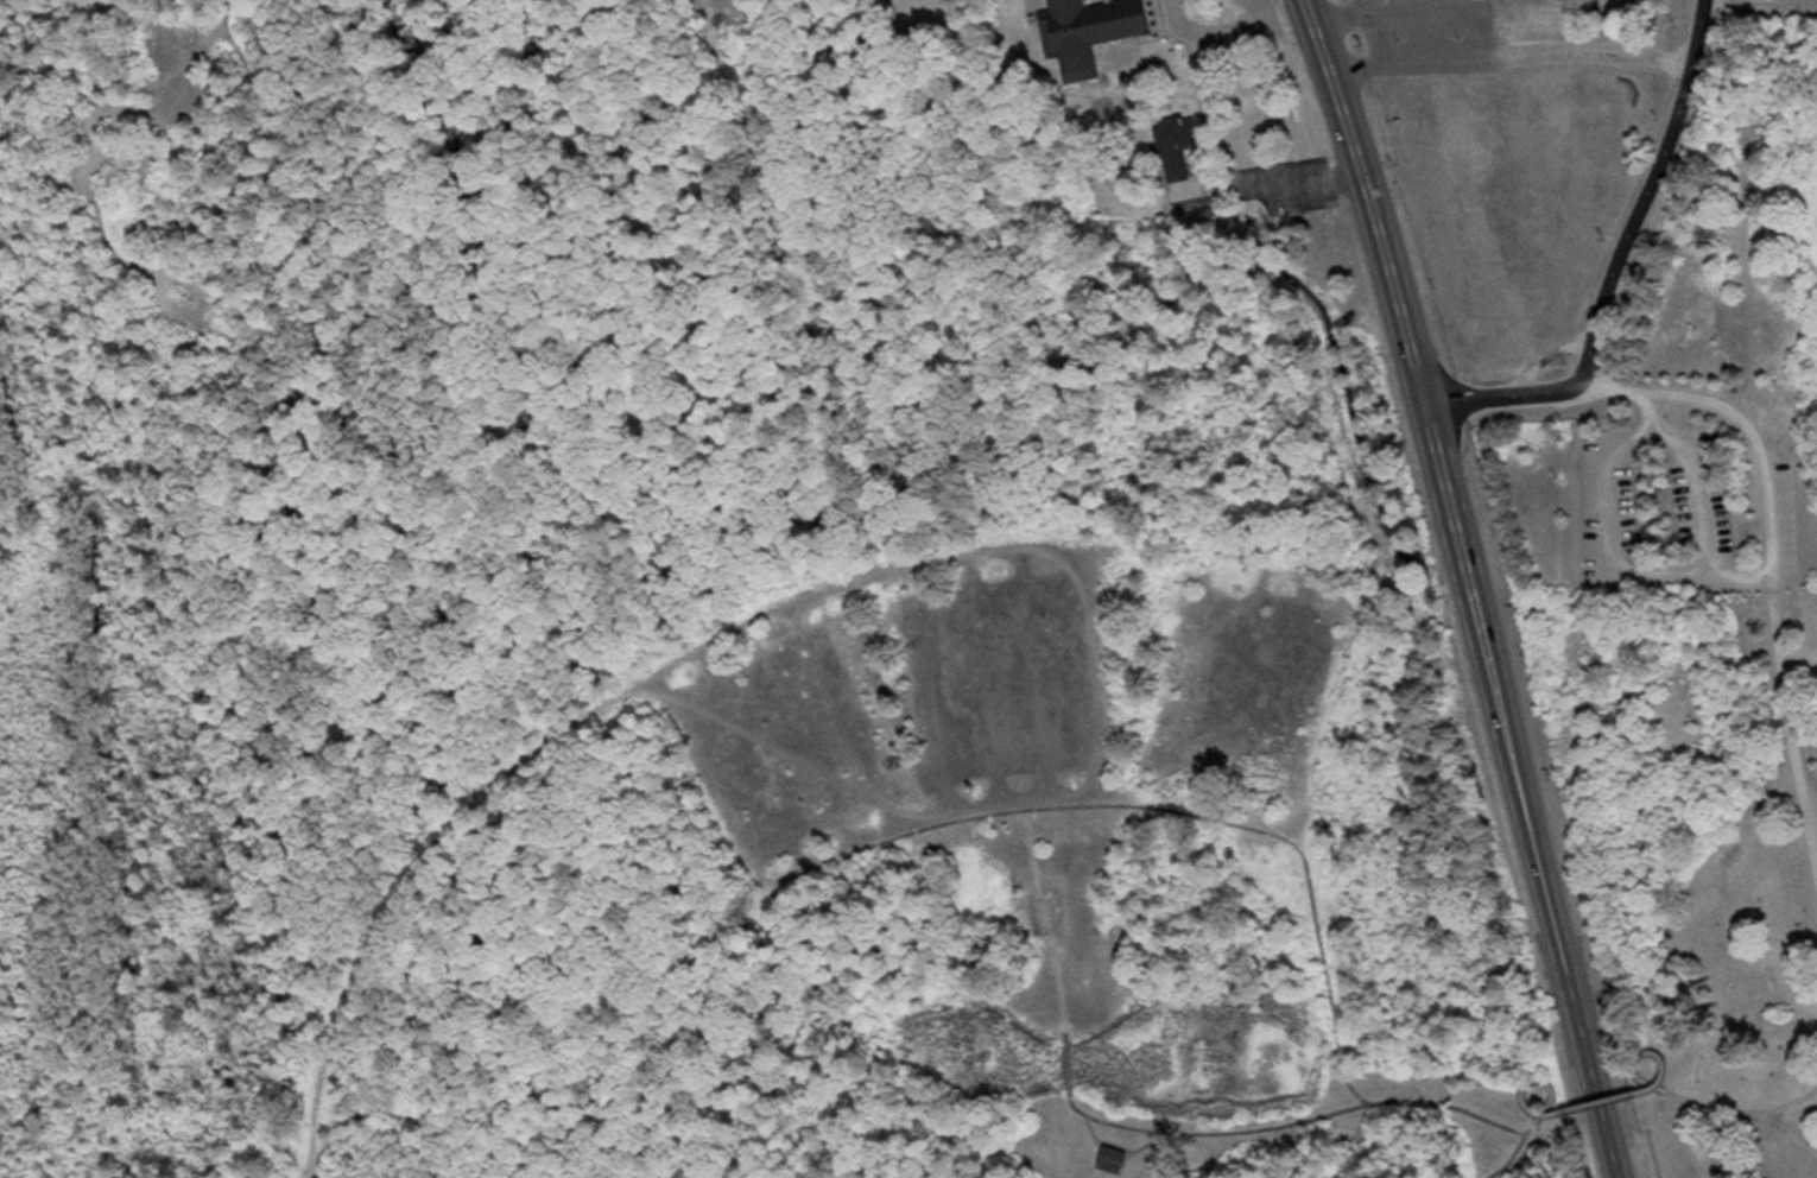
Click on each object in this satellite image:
road: (1762, 7)
building: (1097, 33)
road: (1702, 33)
road: (1513, 55)
building: (1182, 147)
road: (1609, 298)
road: (1704, 488)
road: (1610, 545)
road: (1773, 549)
road: (950, 558)
road: (1470, 585)
road: (1096, 663)
road: (1030, 676)
road: (983, 682)
road: (1170, 683)
road: (936, 689)
road: (1220, 689)
road: (1274, 698)
park: (865, 699)
road: (844, 715)
road: (803, 731)
road: (756, 756)
road: (1129, 807)
road: (1303, 837)
road: (755, 873)
road: (395, 897)
park: (1044, 916)
building: (1046, 918)
road: (1049, 923)
road: (1338, 1047)
road: (1068, 1065)
road: (1349, 1085)
road: (1676, 1096)
road: (1595, 1102)
road: (1788, 1106)
road: (1308, 1120)
road: (1537, 1121)
road: (1788, 1132)
road: (1095, 1133)
road: (1135, 1151)
building: (1110, 1159)

